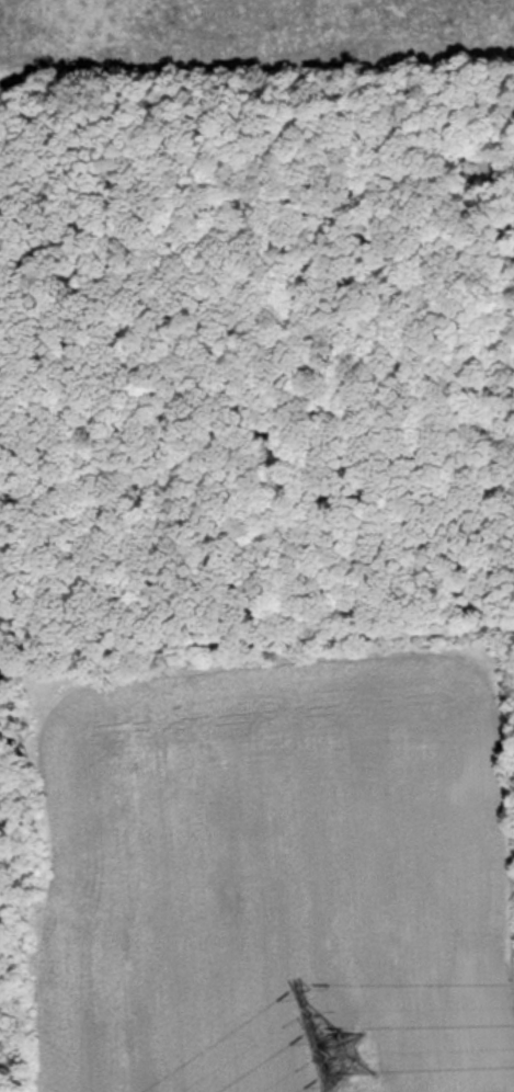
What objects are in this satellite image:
power tower: (346, 1060)

